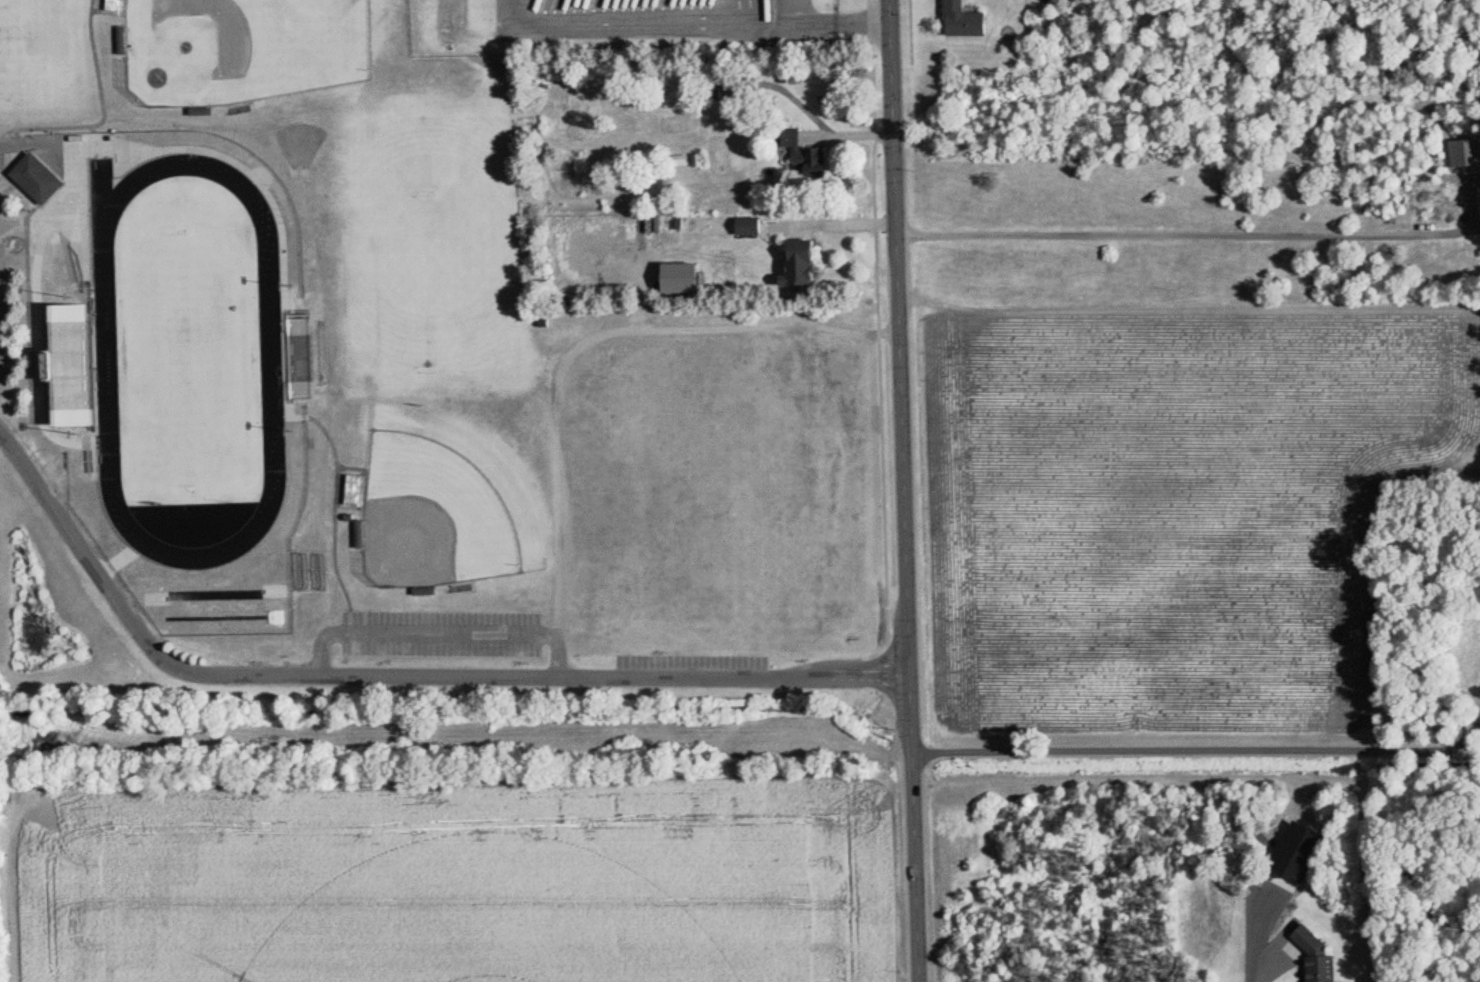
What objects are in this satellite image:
building: (967, 18)
road: (815, 20)
road: (628, 22)
park: (253, 48)
building: (738, 90)
building: (806, 151)
building: (678, 160)
building: (580, 167)
building: (34, 178)
road: (834, 223)
building: (754, 226)
road: (1188, 234)
building: (804, 263)
park: (197, 359)
road: (904, 491)
park: (452, 506)
road: (440, 636)
road: (394, 675)
road: (1204, 751)
building: (1314, 957)
road: (1273, 969)

